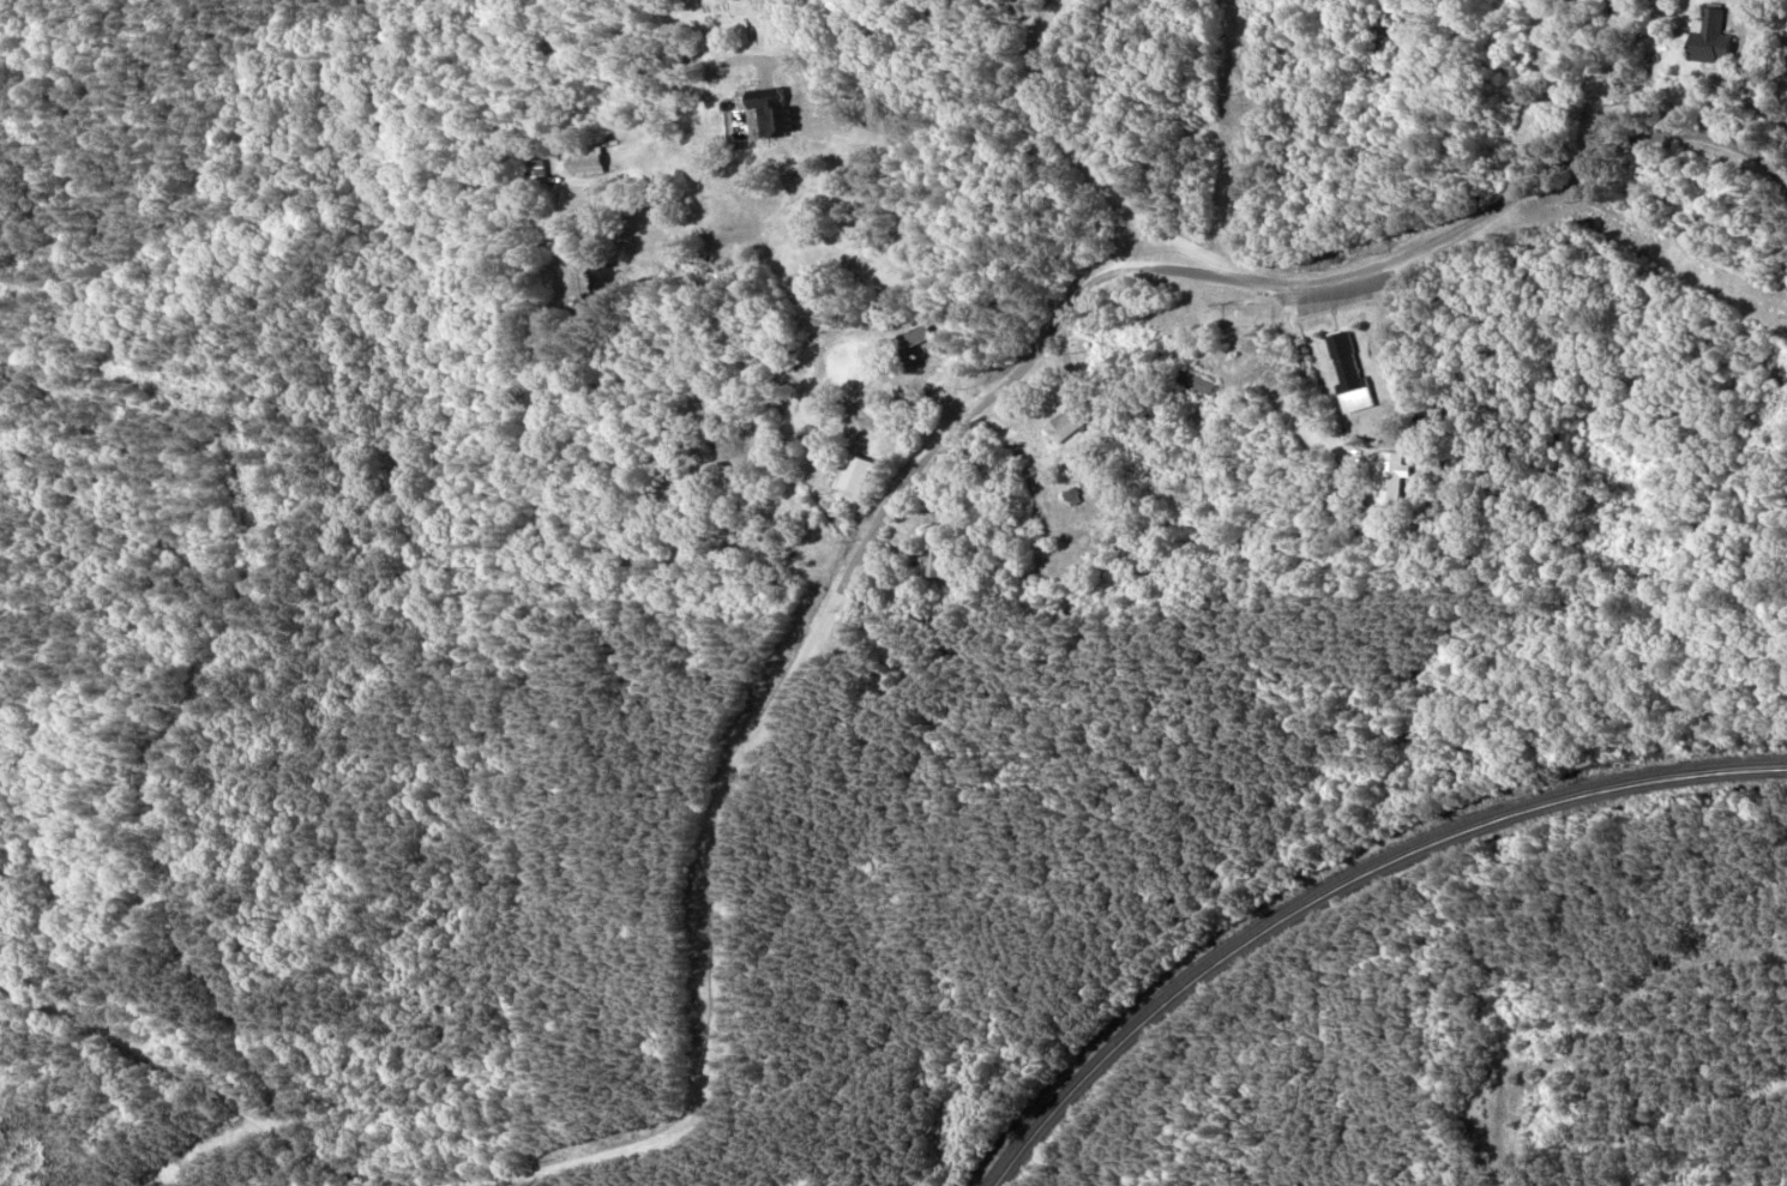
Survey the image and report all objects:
building: (1710, 38)
building: (769, 115)
road: (1058, 136)
building: (586, 162)
building: (541, 171)
road: (1484, 205)
building: (913, 339)
building: (1349, 374)
building: (1189, 379)
building: (1071, 421)
building: (935, 560)
railway: (1341, 881)
road: (714, 992)

